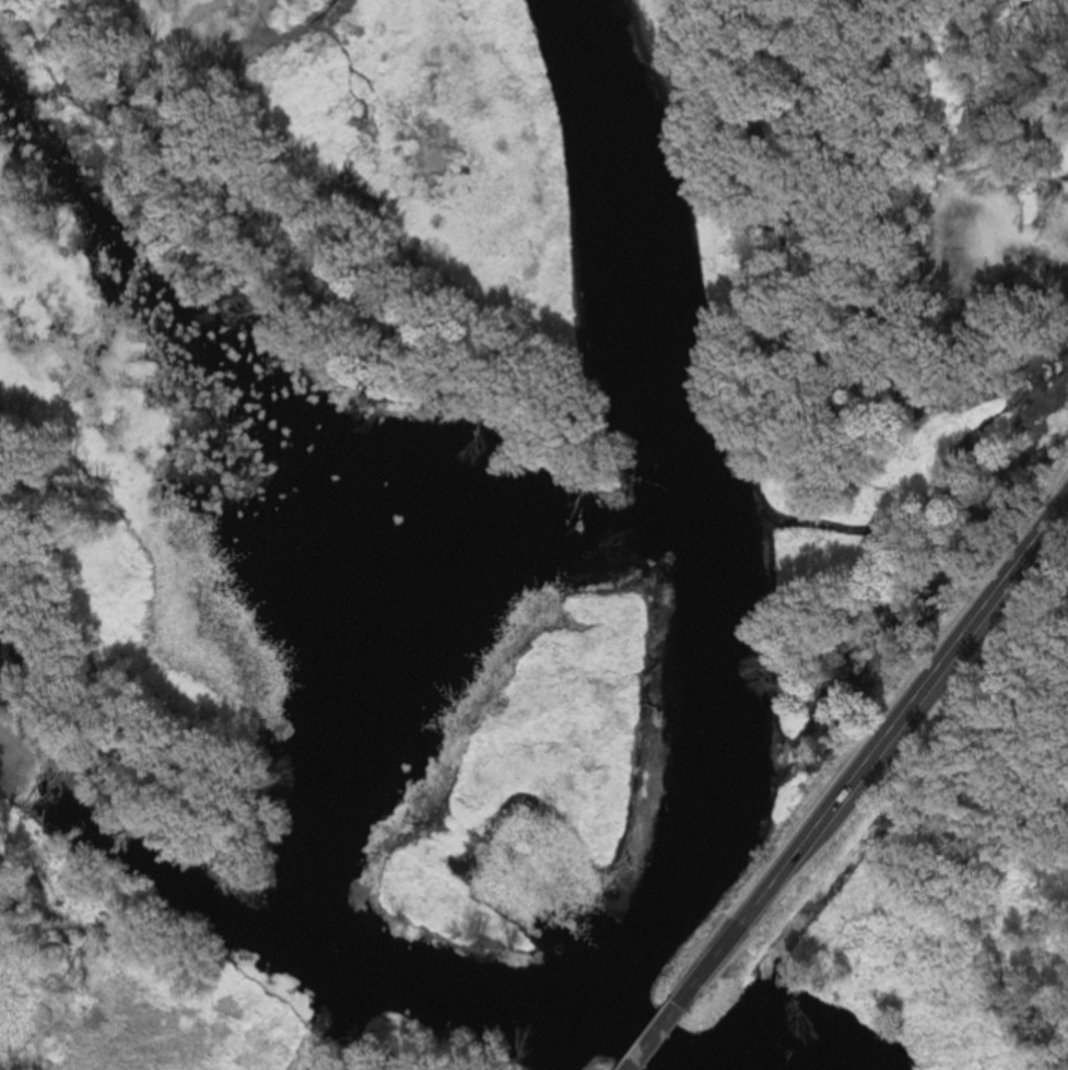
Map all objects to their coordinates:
road: (872, 741)
road: (650, 1036)

